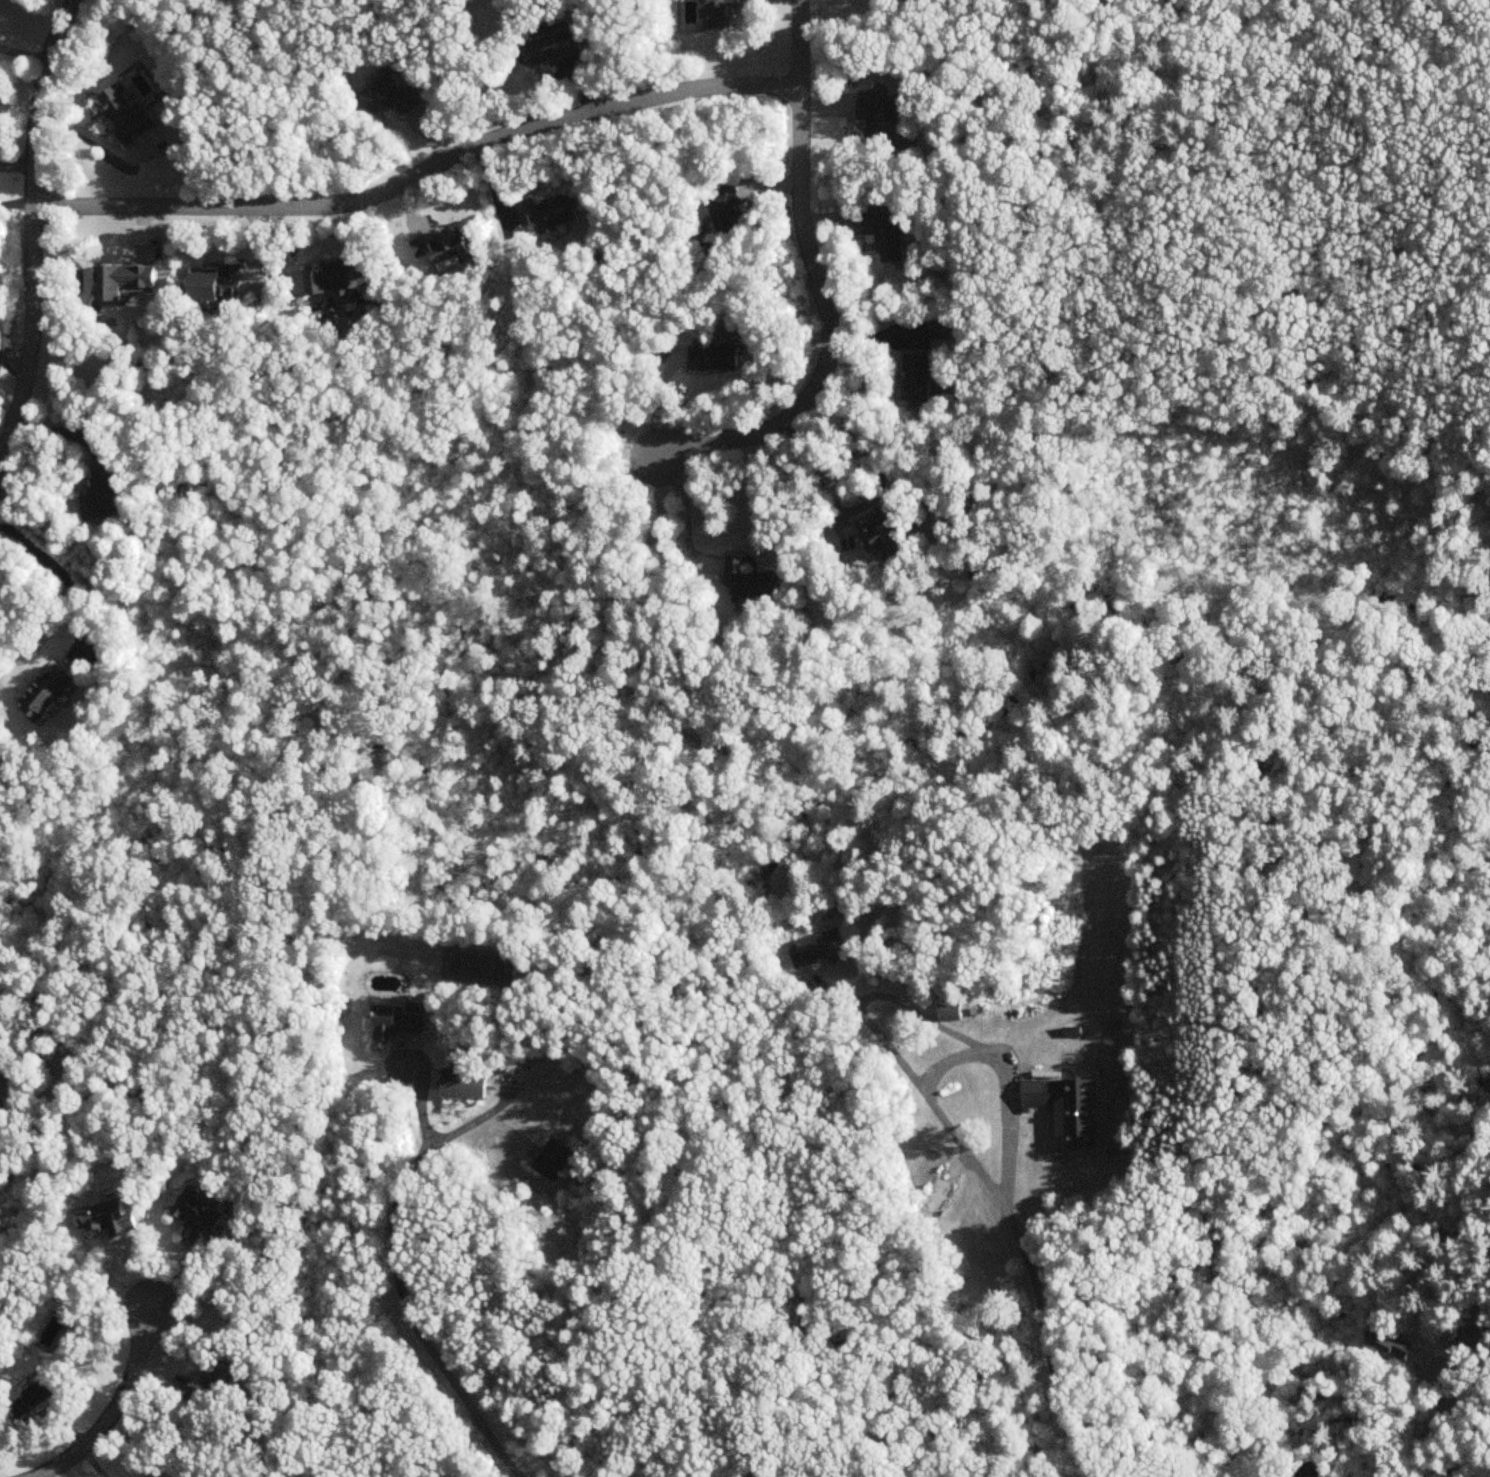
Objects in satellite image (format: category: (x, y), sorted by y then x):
road: (799, 8)
building: (721, 14)
building: (554, 46)
building: (392, 95)
building: (128, 114)
building: (883, 117)
road: (14, 165)
road: (419, 173)
road: (14, 197)
building: (731, 211)
building: (551, 213)
road: (29, 229)
building: (886, 233)
building: (445, 247)
building: (344, 276)
building: (124, 280)
building: (221, 284)
road: (818, 289)
building: (939, 330)
building: (715, 357)
building: (919, 376)
building: (106, 492)
road: (869, 501)
road: (684, 506)
building: (883, 534)
road: (65, 578)
building: (750, 579)
building: (48, 694)
building: (817, 949)
building: (947, 1011)
building: (399, 1020)
building: (1070, 1031)
building: (466, 1086)
road: (1005, 1087)
building: (1043, 1093)
building: (2, 1099)
building: (551, 1160)
building: (931, 1205)
building: (202, 1218)
road: (1013, 1230)
road: (397, 1271)
building: (242, 1292)
building: (1377, 1340)
building: (218, 1384)
building: (43, 1395)
road: (113, 1410)
road: (1442, 1424)

